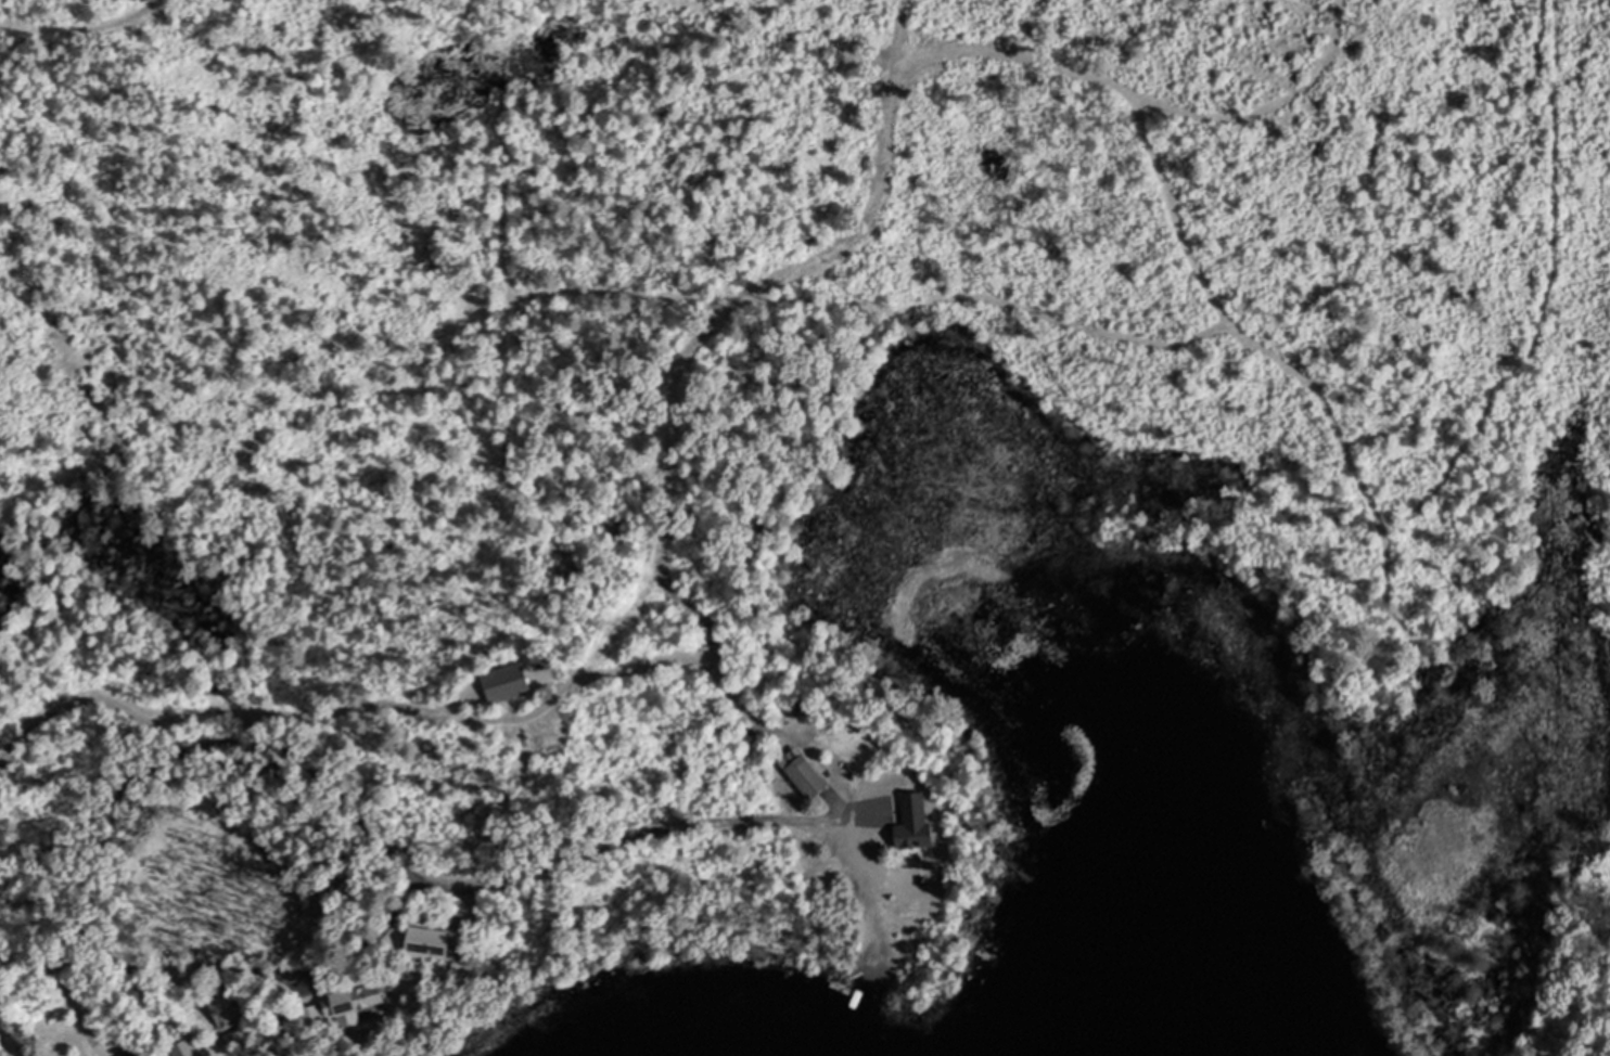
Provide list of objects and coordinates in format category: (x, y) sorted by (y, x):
building: (511, 682)
building: (806, 775)
road: (386, 852)
building: (433, 943)
building: (359, 1002)
building: (178, 1051)

